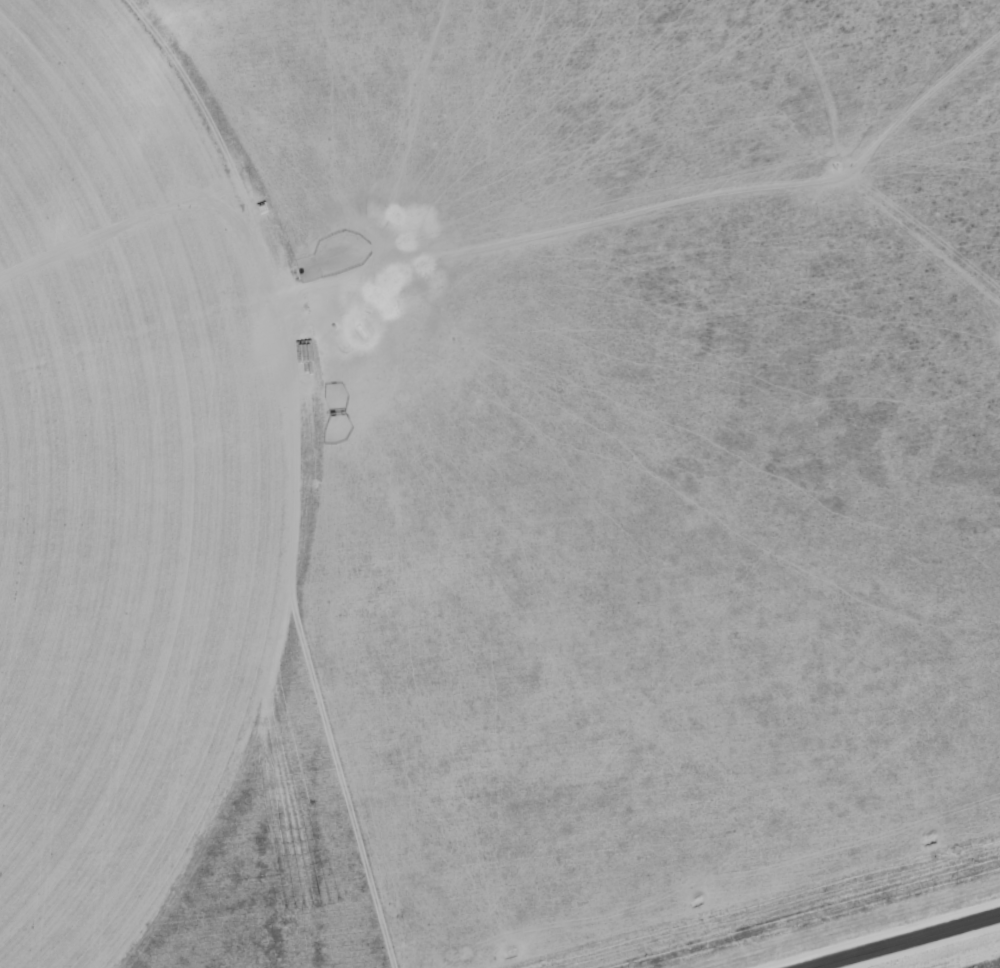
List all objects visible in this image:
road: (904, 940)

